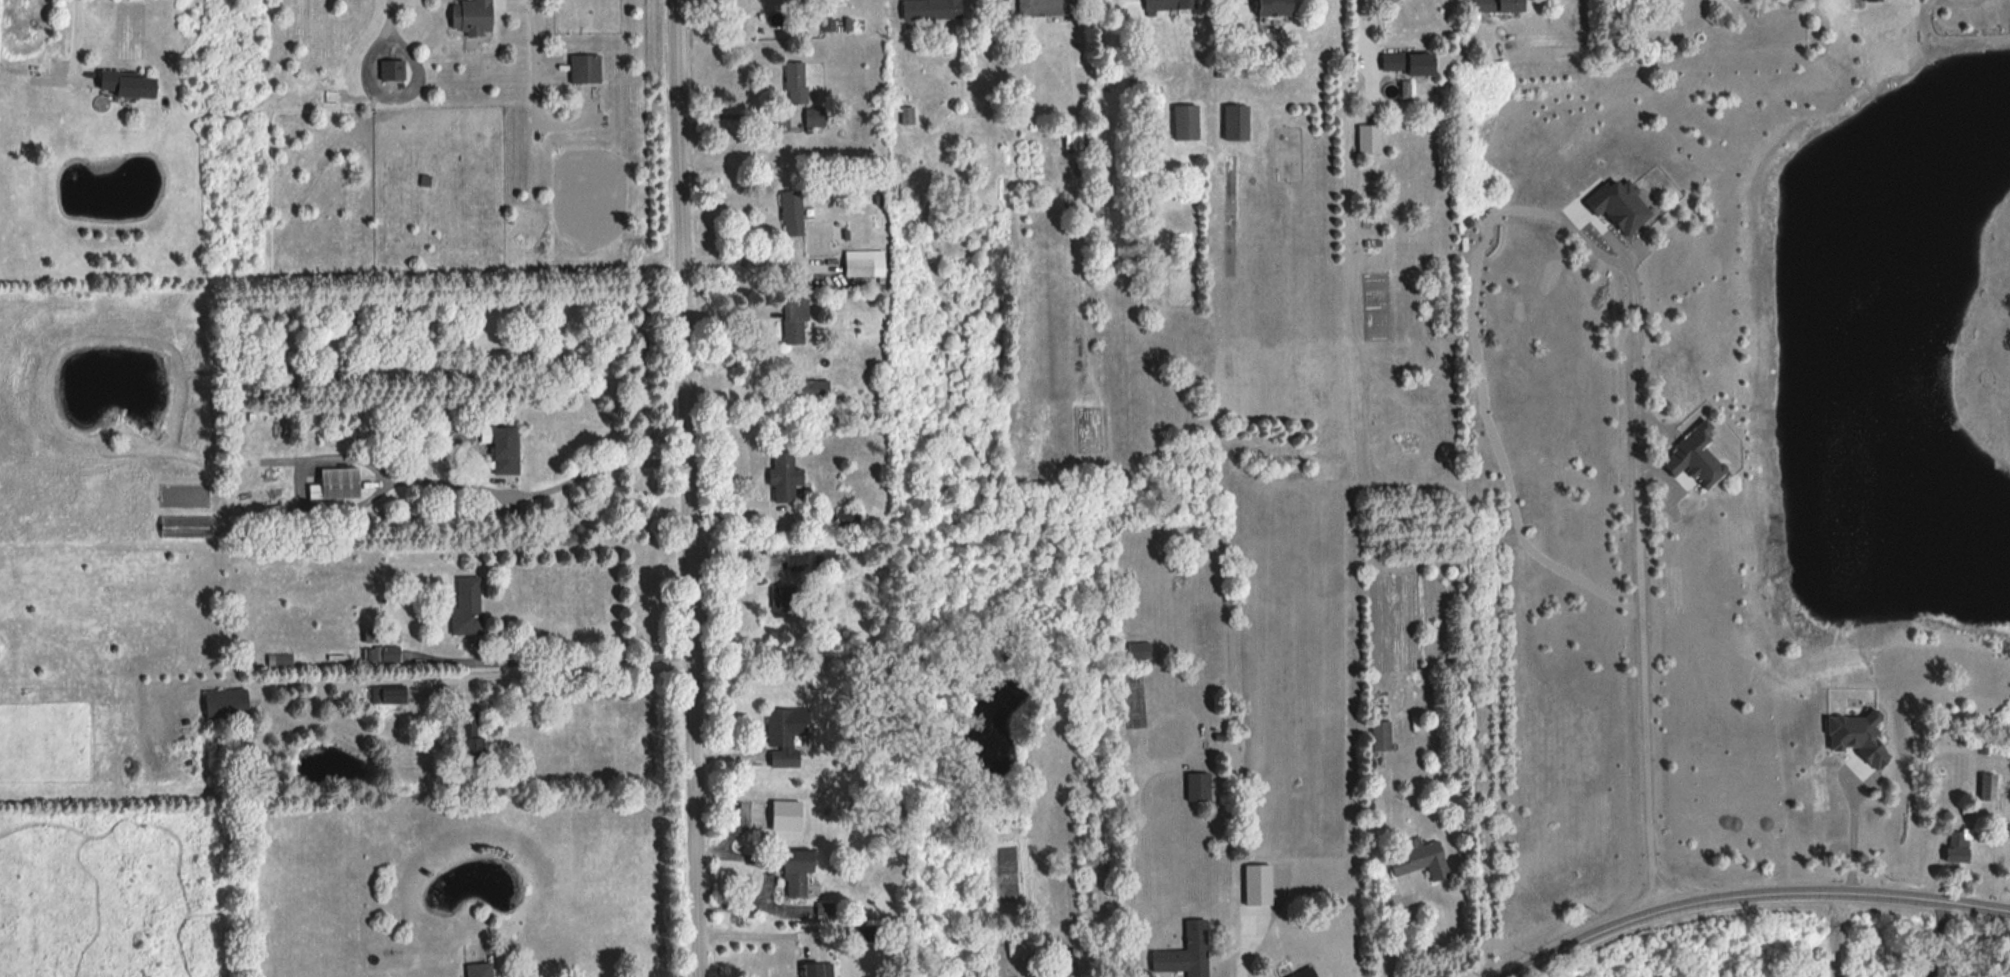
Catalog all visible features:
building: (1164, 6)
building: (1493, 6)
building: (1042, 8)
building: (1269, 8)
building: (927, 10)
building: (467, 17)
road: (388, 20)
road: (1365, 35)
road: (75, 41)
building: (1402, 63)
building: (581, 69)
building: (392, 70)
building: (792, 82)
building: (119, 85)
road: (539, 95)
road: (728, 116)
building: (813, 123)
building: (1181, 123)
building: (1232, 123)
building: (1366, 139)
building: (1070, 140)
building: (788, 213)
road: (739, 263)
building: (855, 268)
building: (792, 322)
building: (809, 390)
building: (230, 415)
building: (501, 451)
building: (783, 477)
road: (420, 482)
building: (336, 484)
road: (685, 488)
building: (1176, 583)
road: (1642, 612)
building: (464, 615)
road: (580, 661)
road: (464, 681)
building: (222, 705)
building: (781, 732)
building: (1377, 737)
building: (1986, 788)
building: (777, 816)
road: (1857, 838)
building: (1952, 848)
building: (1417, 861)
building: (791, 872)
road: (769, 879)
building: (1254, 885)
crop: (110, 895)
road: (1756, 899)
road: (761, 937)
road: (1835, 937)
road: (1398, 939)
road: (1934, 941)
building: (1181, 953)
road: (1242, 954)
building: (810, 970)
building: (476, 971)
building: (1043, 971)
building: (1300, 973)

